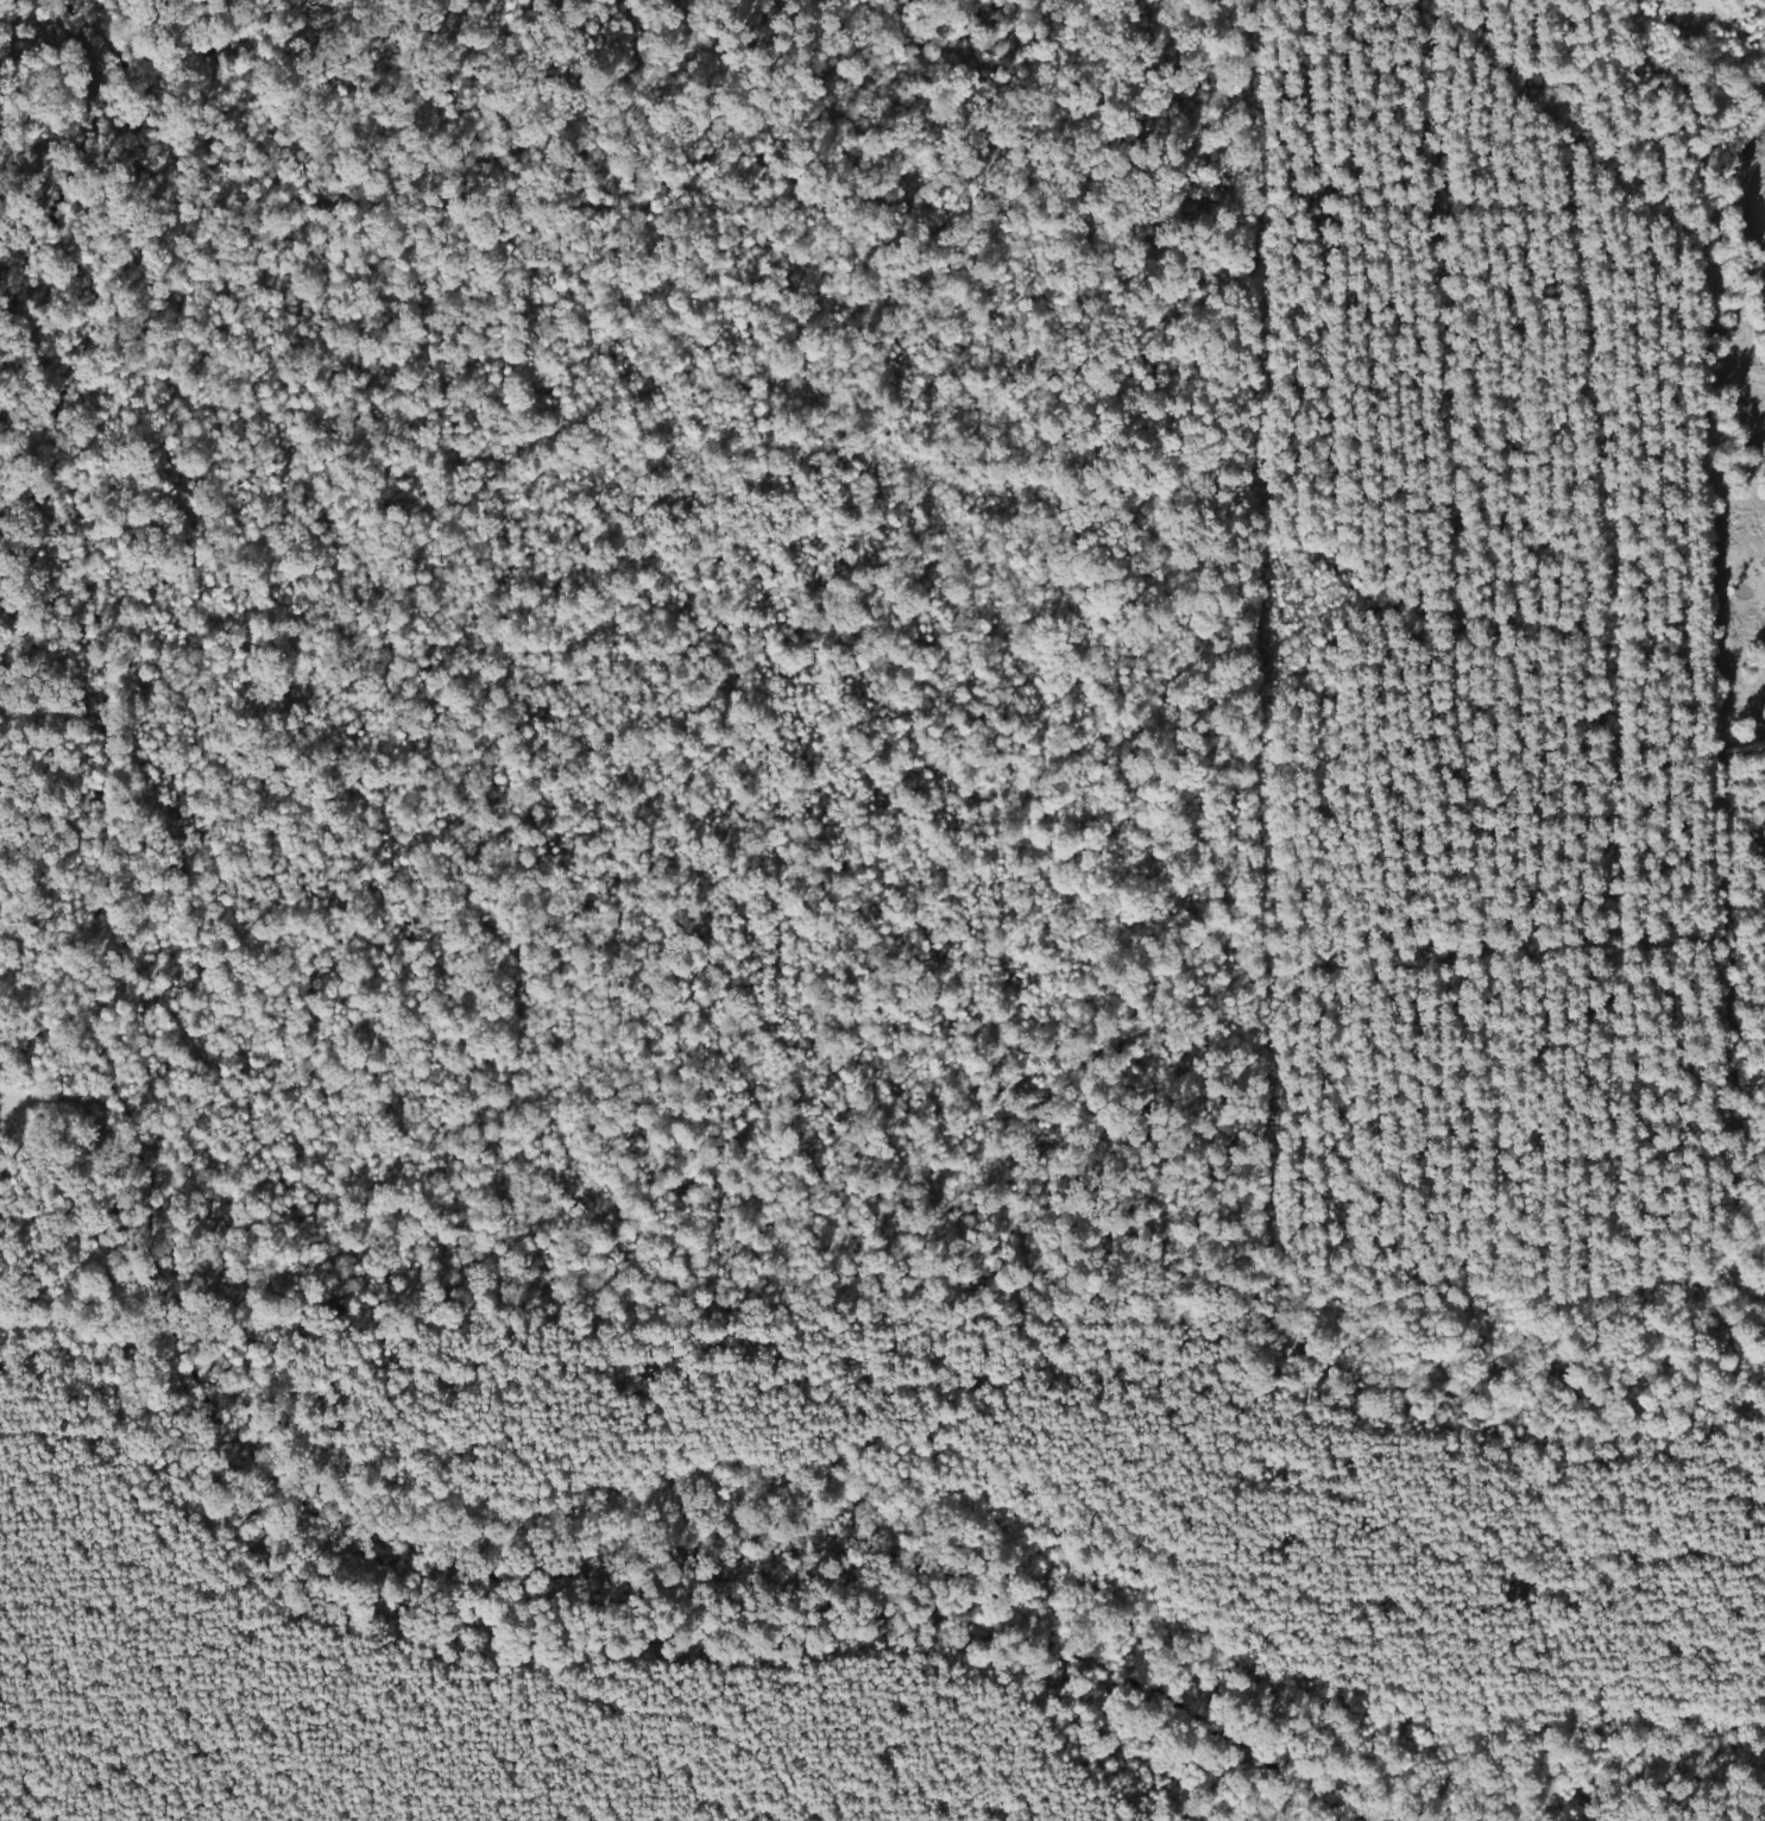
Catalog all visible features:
building: (1692, 25)

